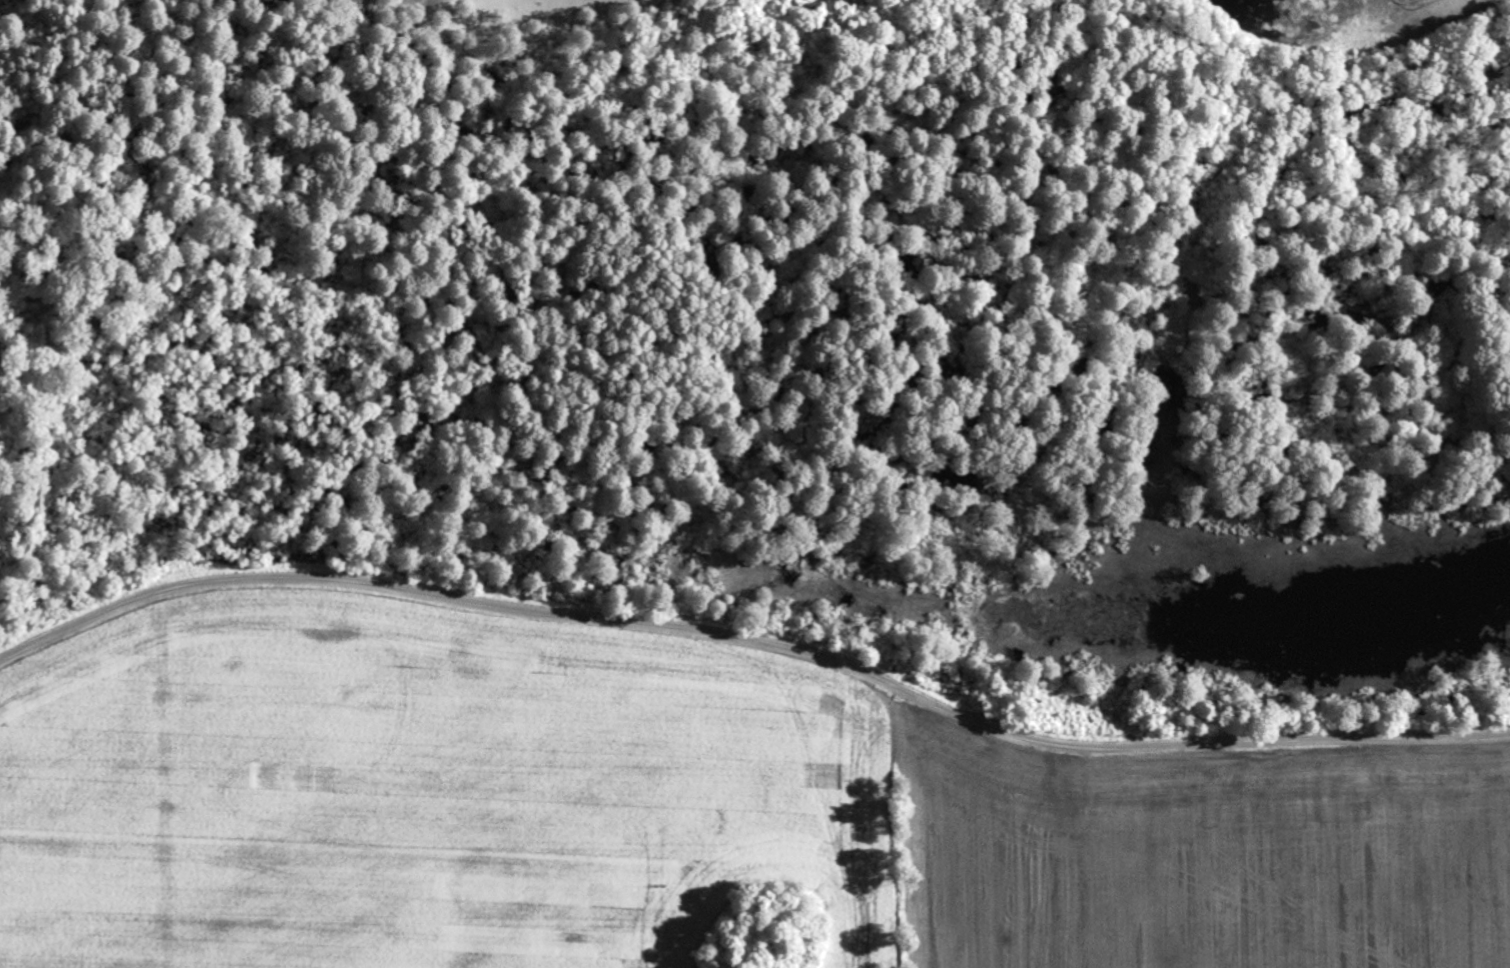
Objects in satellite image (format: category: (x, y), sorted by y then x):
road: (754, 643)

